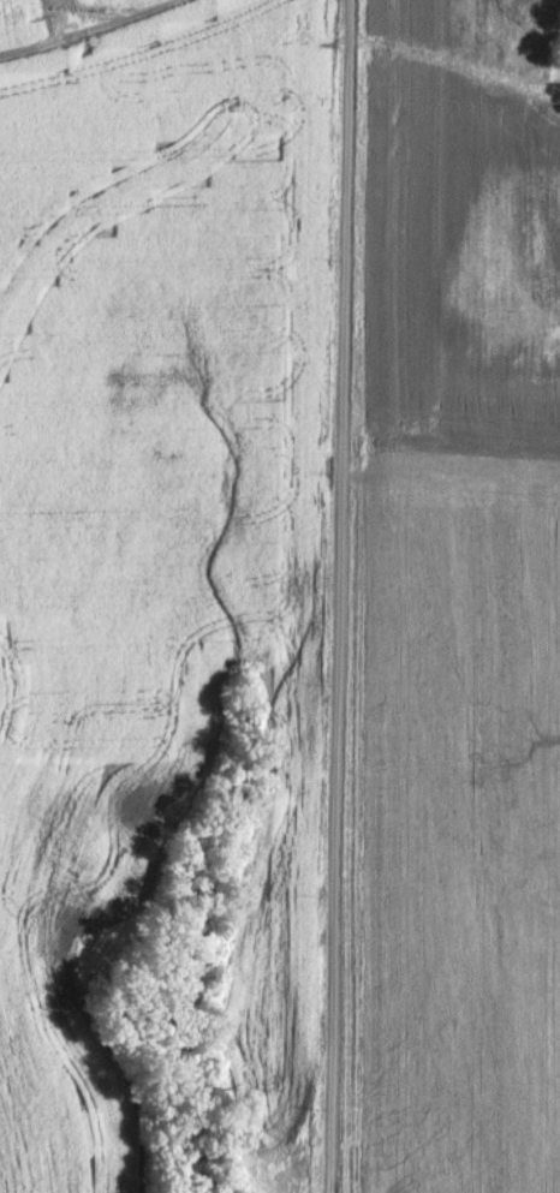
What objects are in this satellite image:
road: (341, 596)

